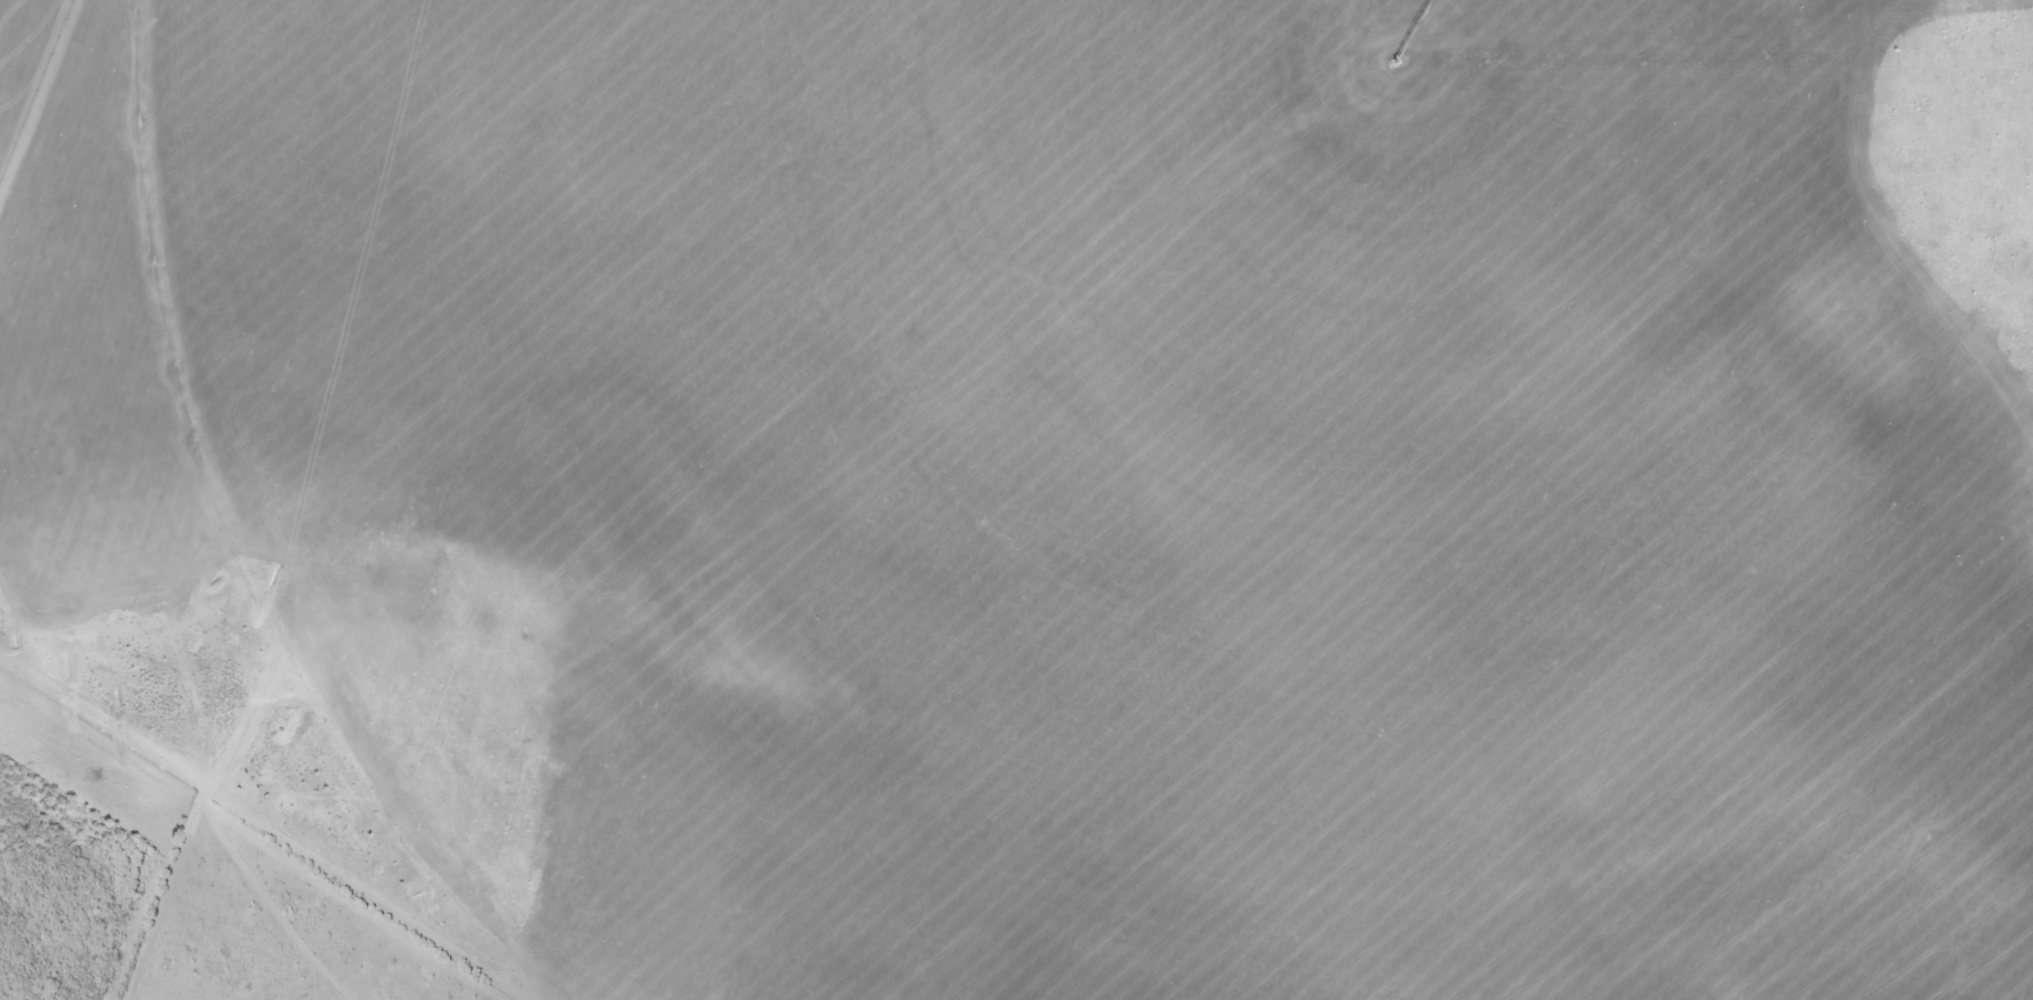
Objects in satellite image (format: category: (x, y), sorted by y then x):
road: (18, 19)
road: (274, 827)

